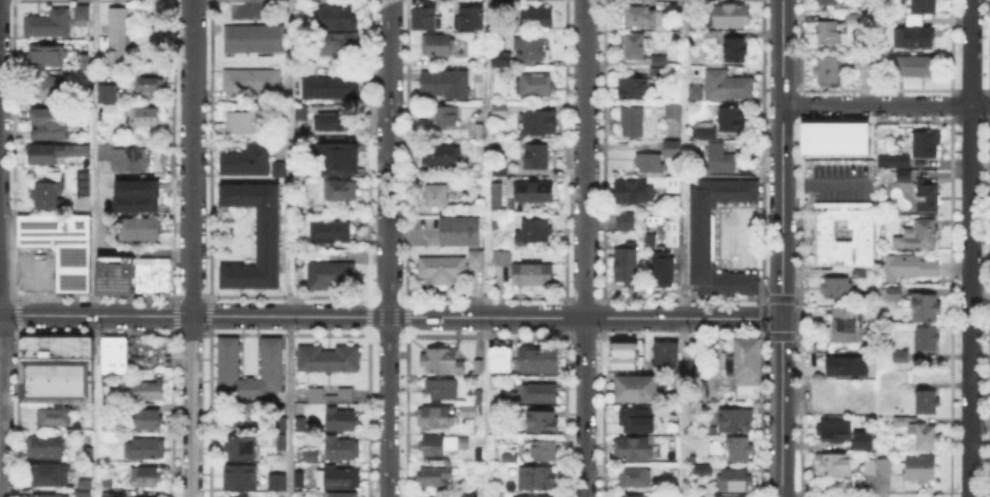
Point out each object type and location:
building: (827, 3)
building: (924, 7)
building: (83, 14)
building: (732, 15)
building: (424, 16)
building: (643, 16)
building: (337, 17)
building: (473, 19)
building: (855, 19)
building: (538, 20)
building: (48, 24)
building: (829, 33)
building: (119, 37)
building: (915, 37)
building: (710, 38)
building: (255, 39)
building: (341, 44)
building: (437, 47)
building: (635, 47)
building: (530, 49)
building: (736, 51)
building: (49, 58)
building: (85, 62)
building: (499, 63)
building: (657, 65)
building: (917, 67)
building: (828, 70)
building: (479, 74)
building: (252, 81)
building: (724, 83)
building: (149, 84)
building: (448, 84)
building: (535, 85)
building: (332, 87)
building: (634, 88)
building: (49, 89)
building: (692, 90)
building: (105, 92)
road: (885, 105)
building: (674, 108)
building: (111, 109)
building: (269, 110)
building: (500, 110)
building: (302, 113)
building: (276, 115)
building: (447, 115)
building: (148, 118)
building: (732, 120)
building: (331, 122)
building: (633, 122)
building: (242, 123)
building: (541, 124)
building: (51, 125)
building: (704, 130)
building: (836, 141)
building: (921, 142)
building: (673, 148)
building: (75, 151)
building: (447, 152)
building: (44, 155)
building: (336, 157)
building: (537, 157)
road: (288, 158)
road: (781, 158)
building: (127, 159)
building: (722, 160)
building: (249, 161)
building: (895, 161)
building: (649, 162)
building: (905, 178)
building: (459, 181)
building: (84, 184)
building: (675, 184)
road: (825, 184)
building: (341, 192)
building: (633, 192)
building: (48, 193)
building: (494, 193)
building: (535, 194)
building: (134, 195)
building: (435, 195)
building: (926, 196)
building: (626, 221)
building: (495, 222)
building: (327, 229)
building: (140, 230)
building: (461, 230)
building: (534, 232)
building: (265, 234)
building: (921, 235)
building: (673, 236)
building: (702, 238)
building: (651, 239)
building: (844, 239)
building: (58, 243)
road: (92, 248)
road: (191, 248)
road: (387, 248)
road: (485, 248)
road: (584, 248)
road: (683, 248)
road: (970, 248)
building: (296, 260)
building: (502, 260)
building: (626, 267)
building: (909, 267)
building: (448, 269)
building: (664, 270)
building: (159, 273)
building: (109, 274)
building: (128, 274)
building: (142, 274)
building: (316, 274)
building: (341, 274)
building: (859, 274)
building: (534, 276)
road: (34, 283)
building: (837, 289)
building: (894, 298)
building: (927, 309)
road: (95, 315)
road: (240, 315)
road: (535, 317)
traffic signals: (781, 318)
building: (848, 324)
building: (928, 339)
building: (45, 345)
building: (58, 345)
building: (72, 345)
building: (85, 345)
building: (303, 354)
building: (348, 354)
building: (623, 354)
building: (111, 355)
building: (269, 355)
building: (667, 355)
building: (498, 358)
building: (902, 358)
building: (318, 359)
building: (333, 359)
building: (442, 360)
building: (541, 360)
building: (844, 364)
road: (0, 365)
building: (479, 368)
building: (746, 369)
building: (57, 373)
building: (26, 378)
building: (141, 388)
building: (444, 388)
building: (637, 388)
building: (327, 393)
building: (479, 395)
building: (541, 395)
building: (927, 404)
road: (289, 406)
road: (781, 407)
building: (468, 411)
building: (50, 414)
building: (240, 418)
building: (436, 418)
building: (148, 420)
building: (542, 420)
building: (638, 421)
building: (343, 422)
building: (108, 424)
building: (833, 428)
building: (511, 430)
building: (279, 431)
building: (738, 434)
building: (922, 434)
building: (861, 439)
building: (441, 445)
building: (629, 446)
building: (47, 447)
building: (241, 448)
building: (343, 449)
building: (147, 450)
building: (545, 450)
building: (717, 451)
building: (89, 455)
building: (312, 457)
building: (479, 457)
building: (511, 458)
building: (834, 465)
building: (871, 465)
building: (885, 466)
building: (920, 469)
building: (703, 473)
building: (635, 475)
building: (50, 476)
building: (146, 477)
building: (240, 477)
building: (341, 477)
building: (433, 477)
building: (540, 479)
building: (736, 480)
building: (108, 481)
building: (82, 482)
building: (282, 485)
building: (300, 485)
building: (80, 493)
building: (47, 495)
building: (117, 495)
building: (344, 495)
building: (531, 495)
building: (628, 495)
building: (716, 495)
building: (148, 496)
building: (240, 496)
building: (430, 496)
building: (470, 496)

